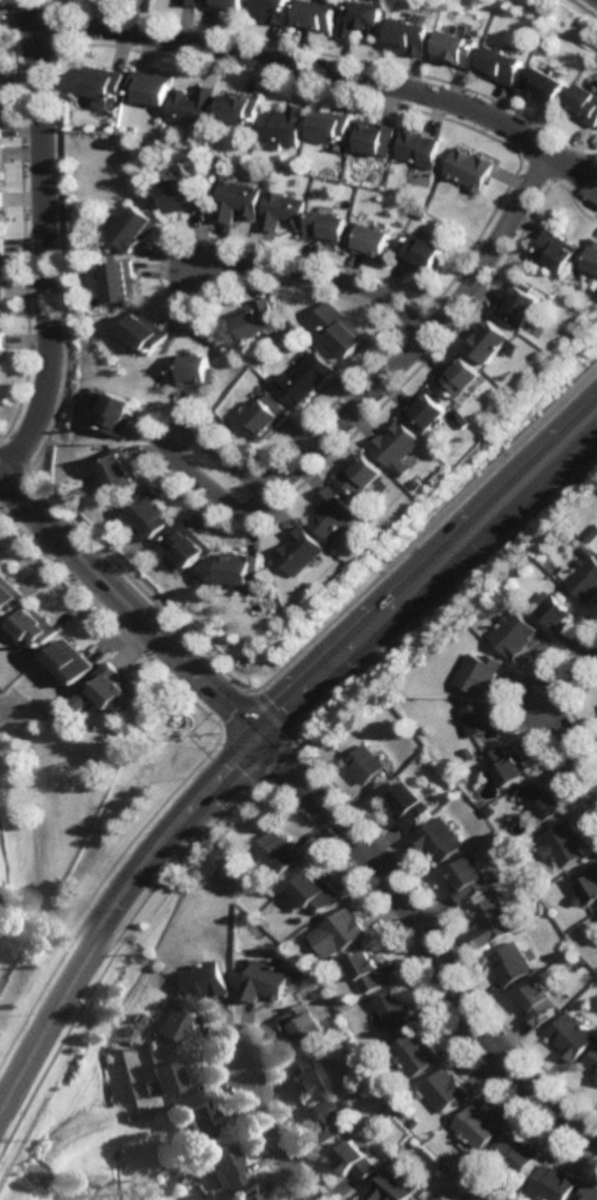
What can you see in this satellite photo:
building: (190, 2)
building: (226, 6)
building: (272, 11)
building: (316, 15)
building: (364, 20)
building: (413, 38)
building: (460, 50)
building: (505, 67)
road: (325, 71)
building: (102, 84)
building: (0, 87)
building: (549, 87)
building: (150, 89)
building: (585, 107)
building: (193, 108)
building: (238, 109)
building: (0, 124)
building: (283, 126)
building: (329, 127)
building: (133, 132)
building: (375, 139)
building: (420, 150)
building: (0, 157)
building: (213, 165)
building: (471, 171)
building: (182, 197)
building: (237, 203)
building: (282, 213)
building: (2, 214)
building: (422, 215)
building: (326, 230)
building: (137, 232)
road: (48, 244)
building: (372, 244)
building: (557, 253)
building: (422, 256)
building: (590, 258)
building: (2, 262)
road: (319, 276)
building: (122, 287)
building: (593, 287)
building: (520, 307)
building: (2, 309)
building: (253, 322)
building: (340, 332)
building: (291, 333)
building: (145, 338)
road: (425, 338)
building: (490, 346)
building: (1, 357)
building: (191, 371)
building: (458, 377)
building: (303, 378)
building: (117, 409)
building: (426, 410)
building: (264, 413)
building: (463, 422)
building: (396, 445)
road: (178, 459)
building: (120, 466)
building: (358, 473)
building: (416, 483)
building: (149, 510)
building: (332, 511)
building: (592, 534)
building: (186, 542)
building: (298, 551)
building: (586, 551)
building: (238, 567)
building: (548, 576)
building: (262, 579)
building: (585, 579)
building: (11, 595)
road: (74, 597)
road: (128, 604)
building: (553, 612)
building: (38, 626)
building: (515, 633)
building: (71, 660)
building: (479, 672)
building: (105, 689)
road: (553, 716)
building: (479, 718)
road: (262, 729)
traffic signals: (257, 735)
building: (364, 765)
building: (507, 768)
building: (543, 802)
building: (408, 805)
building: (492, 810)
building: (440, 840)
building: (565, 844)
building: (276, 854)
building: (466, 881)
building: (587, 888)
building: (314, 893)
building: (241, 915)
building: (492, 923)
building: (340, 935)
road: (427, 936)
building: (136, 959)
building: (511, 965)
building: (578, 968)
building: (366, 973)
building: (206, 984)
building: (266, 984)
building: (540, 1005)
building: (395, 1012)
building: (170, 1026)
building: (302, 1028)
building: (572, 1038)
building: (416, 1058)
building: (592, 1066)
building: (164, 1080)
building: (308, 1081)
building: (447, 1093)
building: (389, 1117)
building: (194, 1124)
building: (327, 1125)
building: (417, 1126)
building: (479, 1129)
road: (269, 1135)
building: (519, 1156)
building: (356, 1161)
building: (219, 1167)
building: (555, 1182)
building: (391, 1186)
building: (241, 1190)
building: (590, 1192)
building: (425, 1199)
building: (427, 1199)

